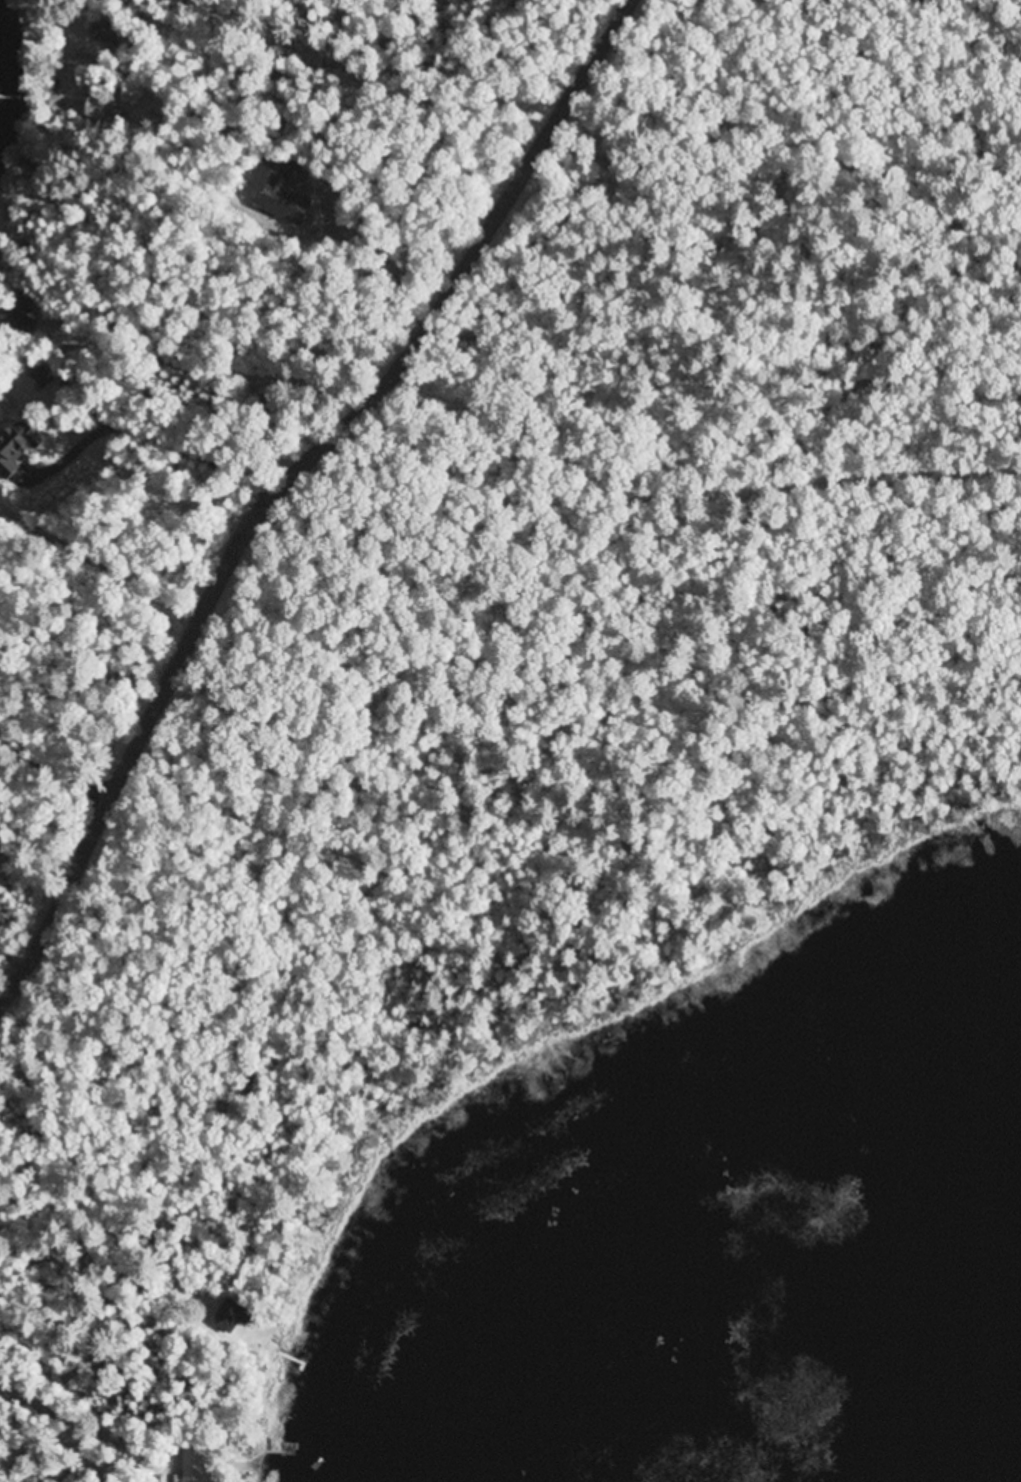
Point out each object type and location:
building: (99, 33)
road: (300, 166)
building: (42, 379)
building: (18, 448)
road: (288, 485)
building: (231, 1316)
road: (68, 1428)
building: (194, 1462)

